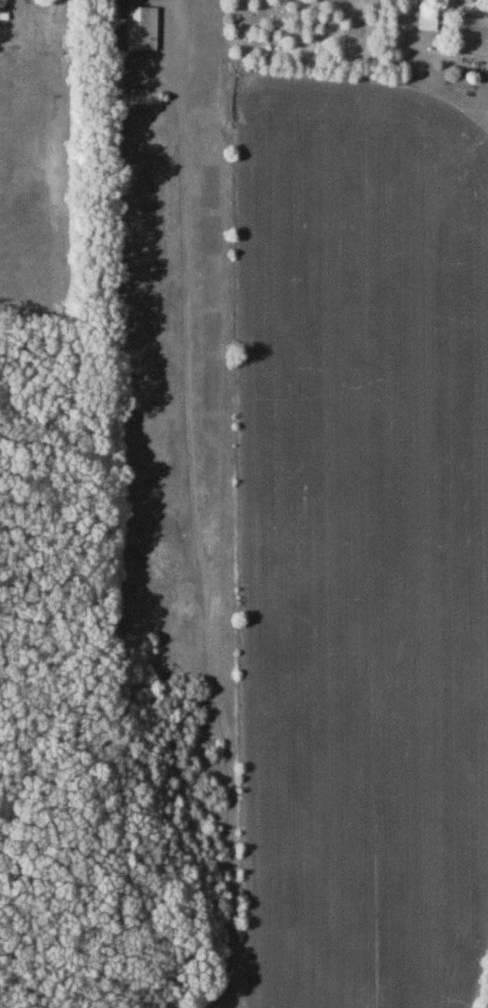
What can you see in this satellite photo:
building: (141, 27)
building: (474, 33)
road: (144, 62)

